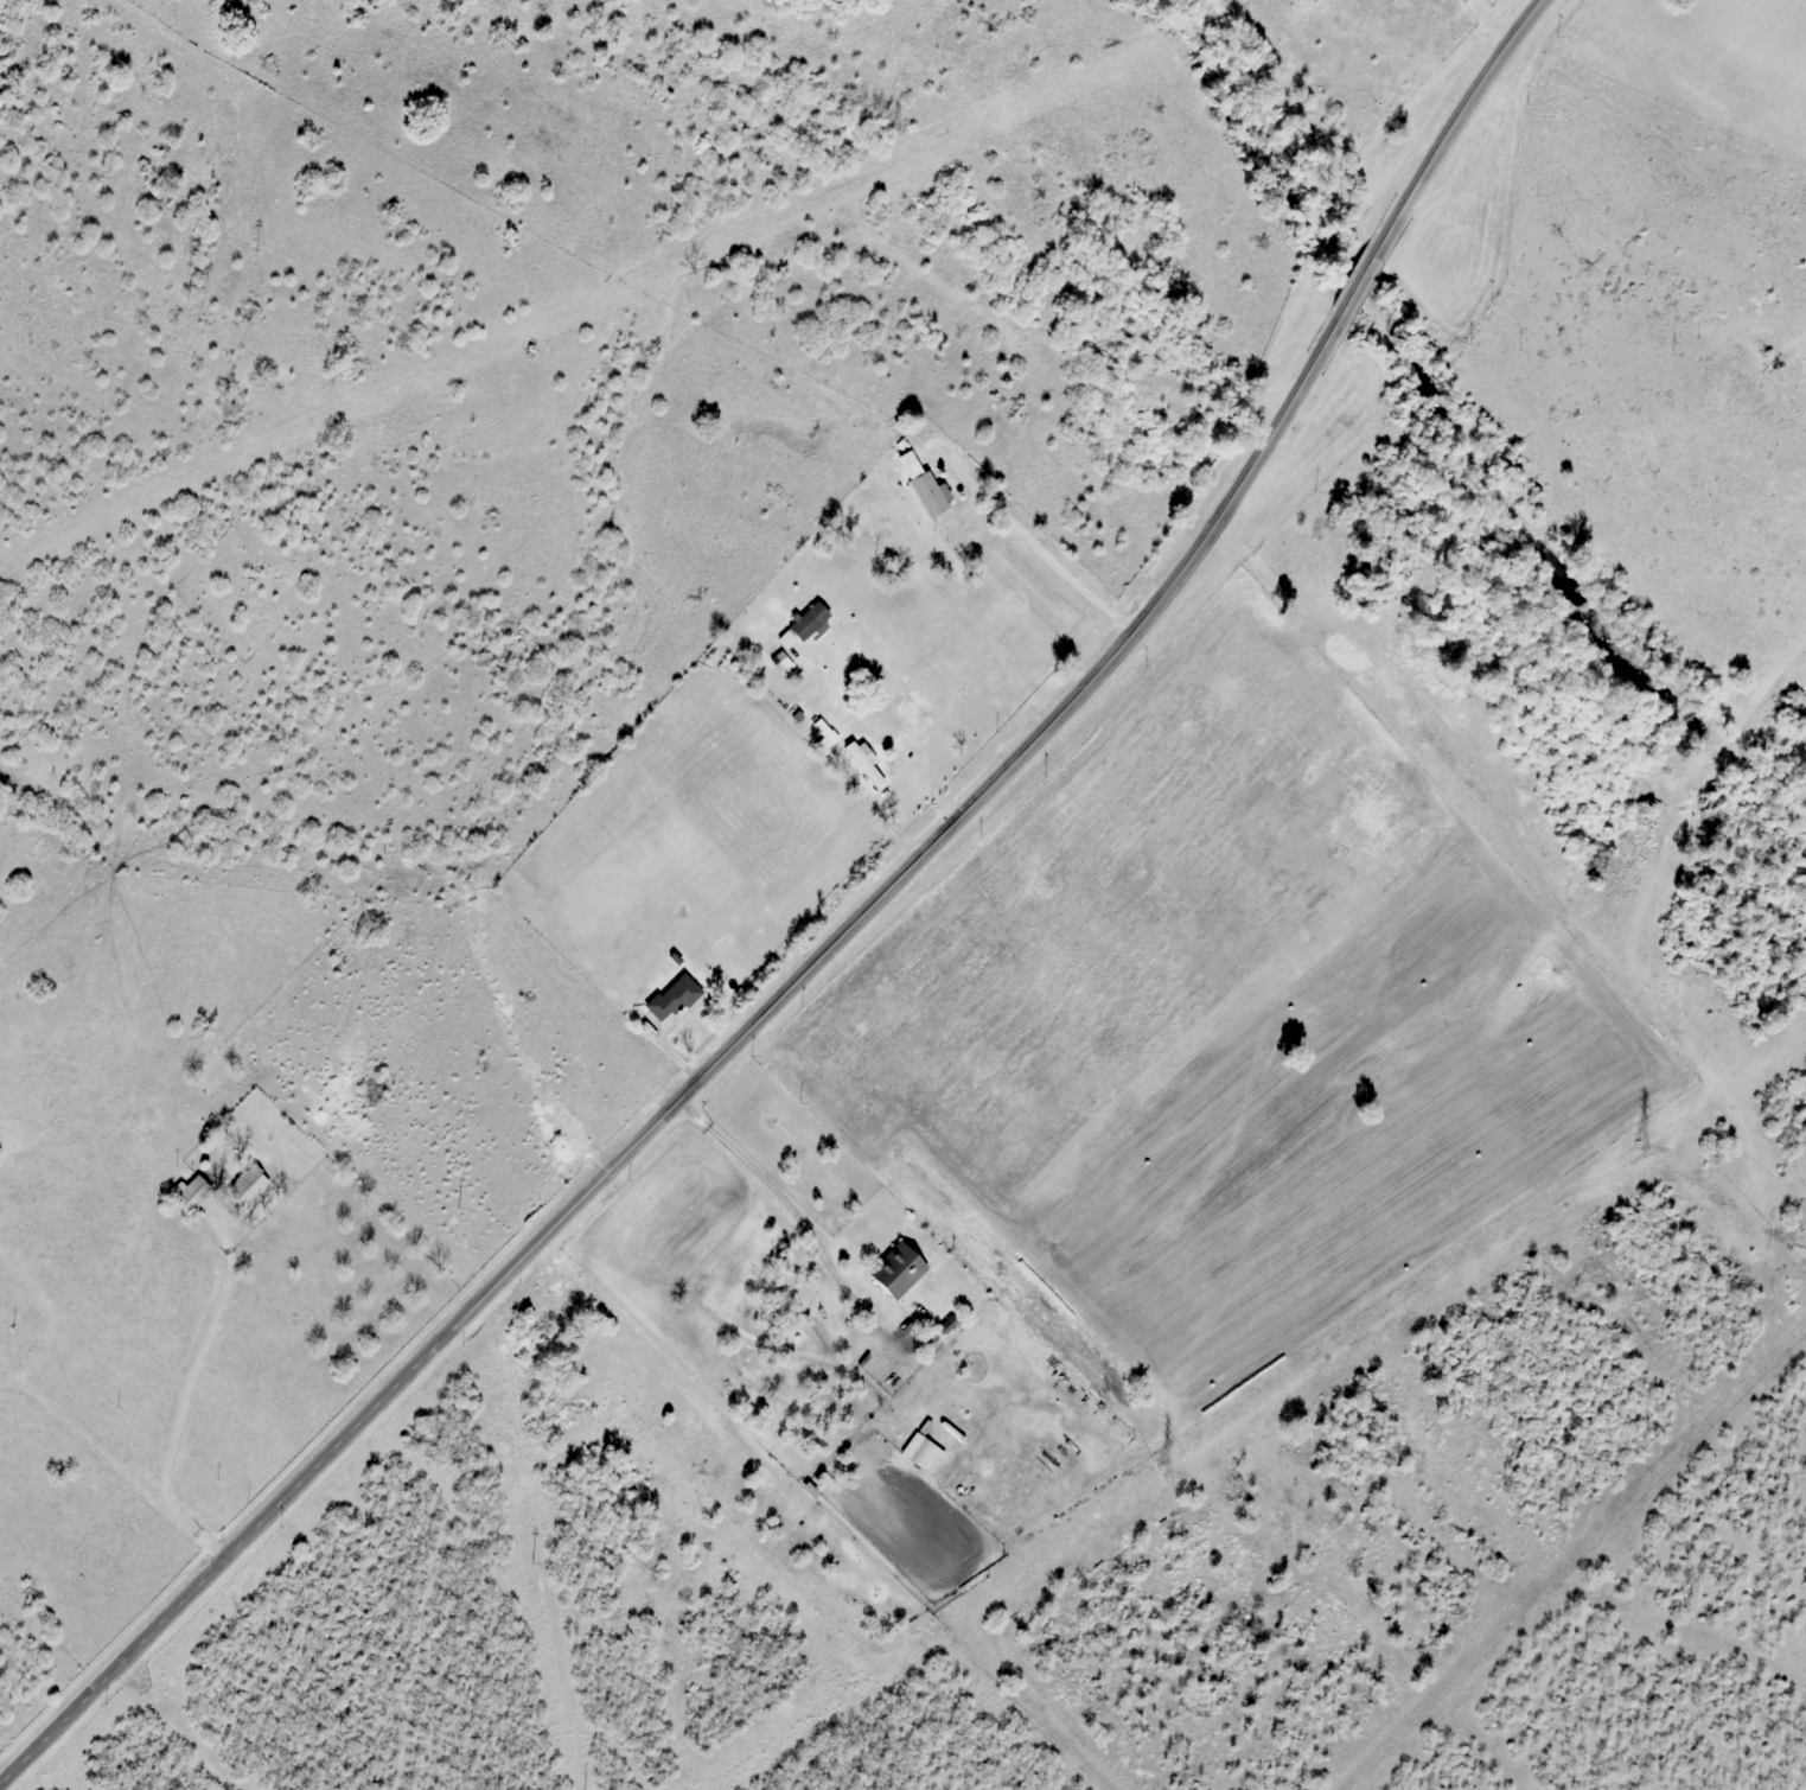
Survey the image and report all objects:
road: (1456, 117)
road: (1359, 279)
building: (925, 486)
road: (1020, 540)
building: (913, 722)
building: (864, 764)
building: (671, 998)
road: (664, 1049)
road: (702, 1079)
building: (0, 1151)
power tower: (1639, 1151)
building: (245, 1186)
building: (189, 1193)
road: (791, 1224)
building: (896, 1269)
road: (53, 1308)
road: (185, 1393)
road: (78, 1427)
power tower: (1161, 1476)

